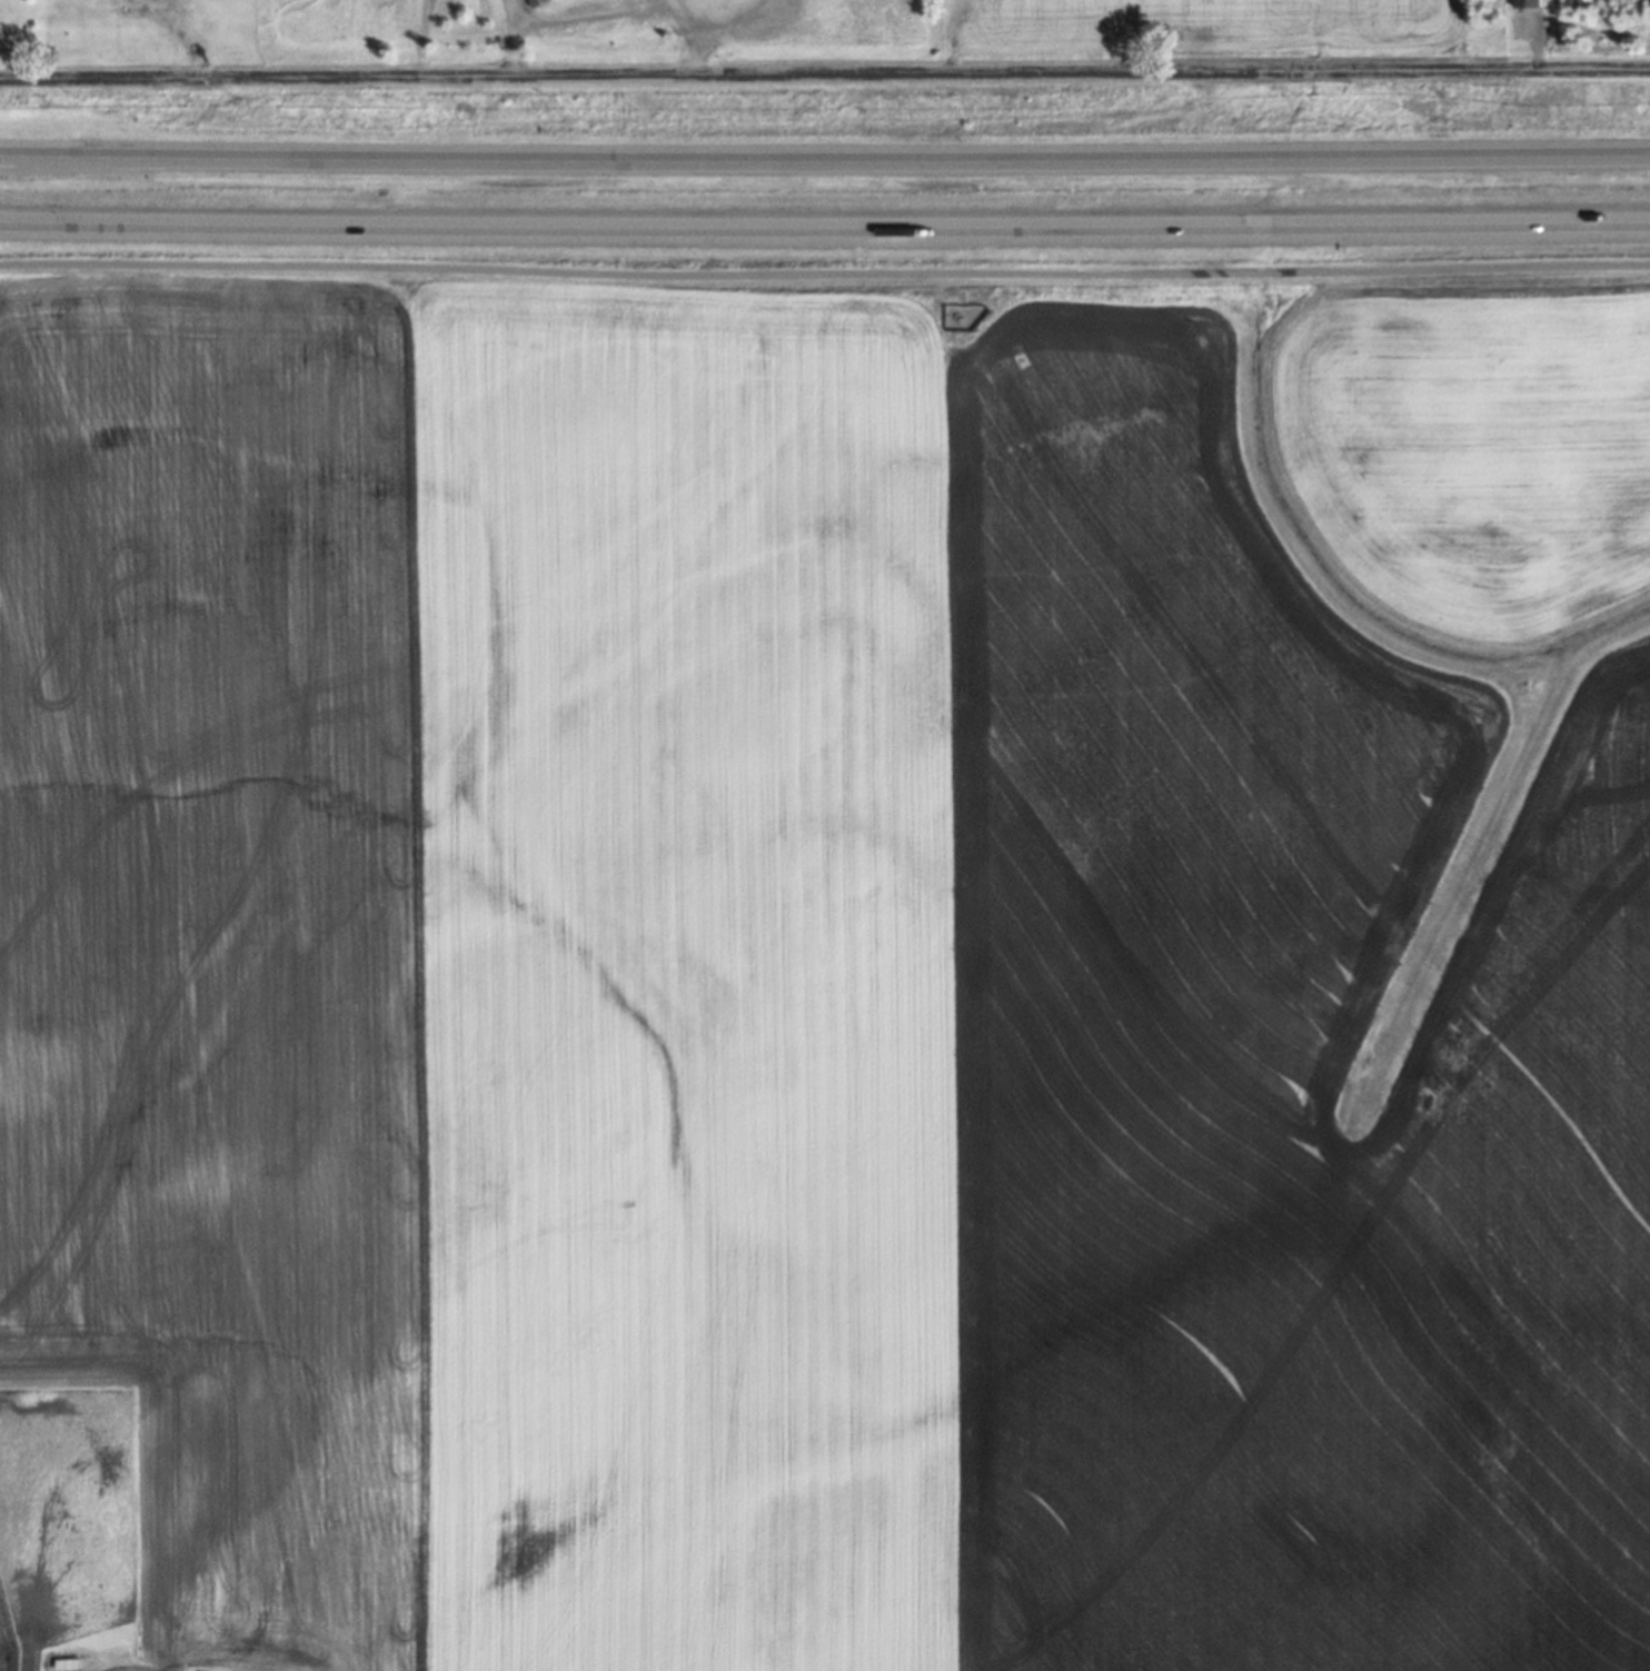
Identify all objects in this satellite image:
building: (535, 2)
building: (1524, 3)
road: (714, 11)
road: (606, 12)
road: (509, 13)
road: (418, 38)
road: (824, 73)
road: (824, 161)
road: (824, 228)
road: (825, 272)
power substation: (962, 316)

